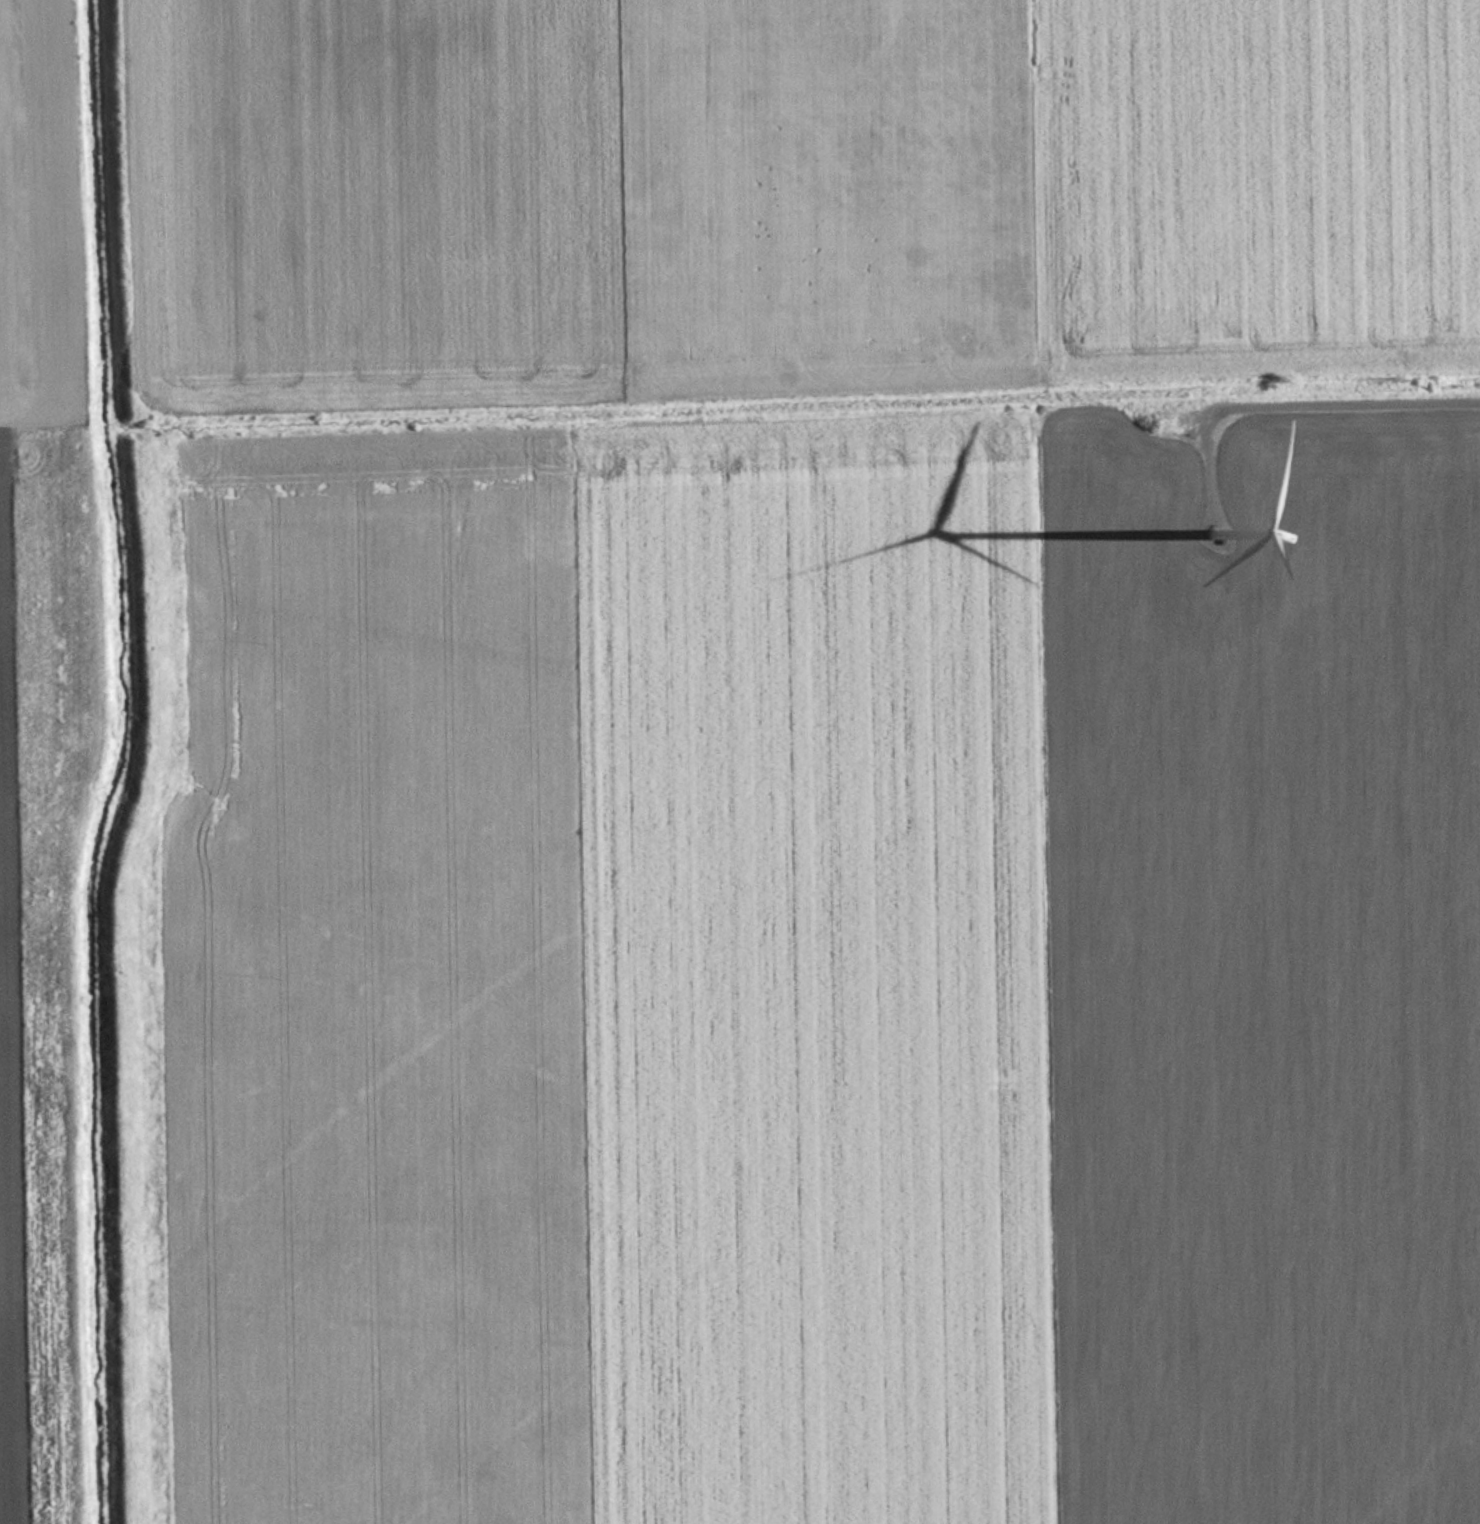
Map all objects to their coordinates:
road: (1322, 404)
wind turbine: (1212, 526)

